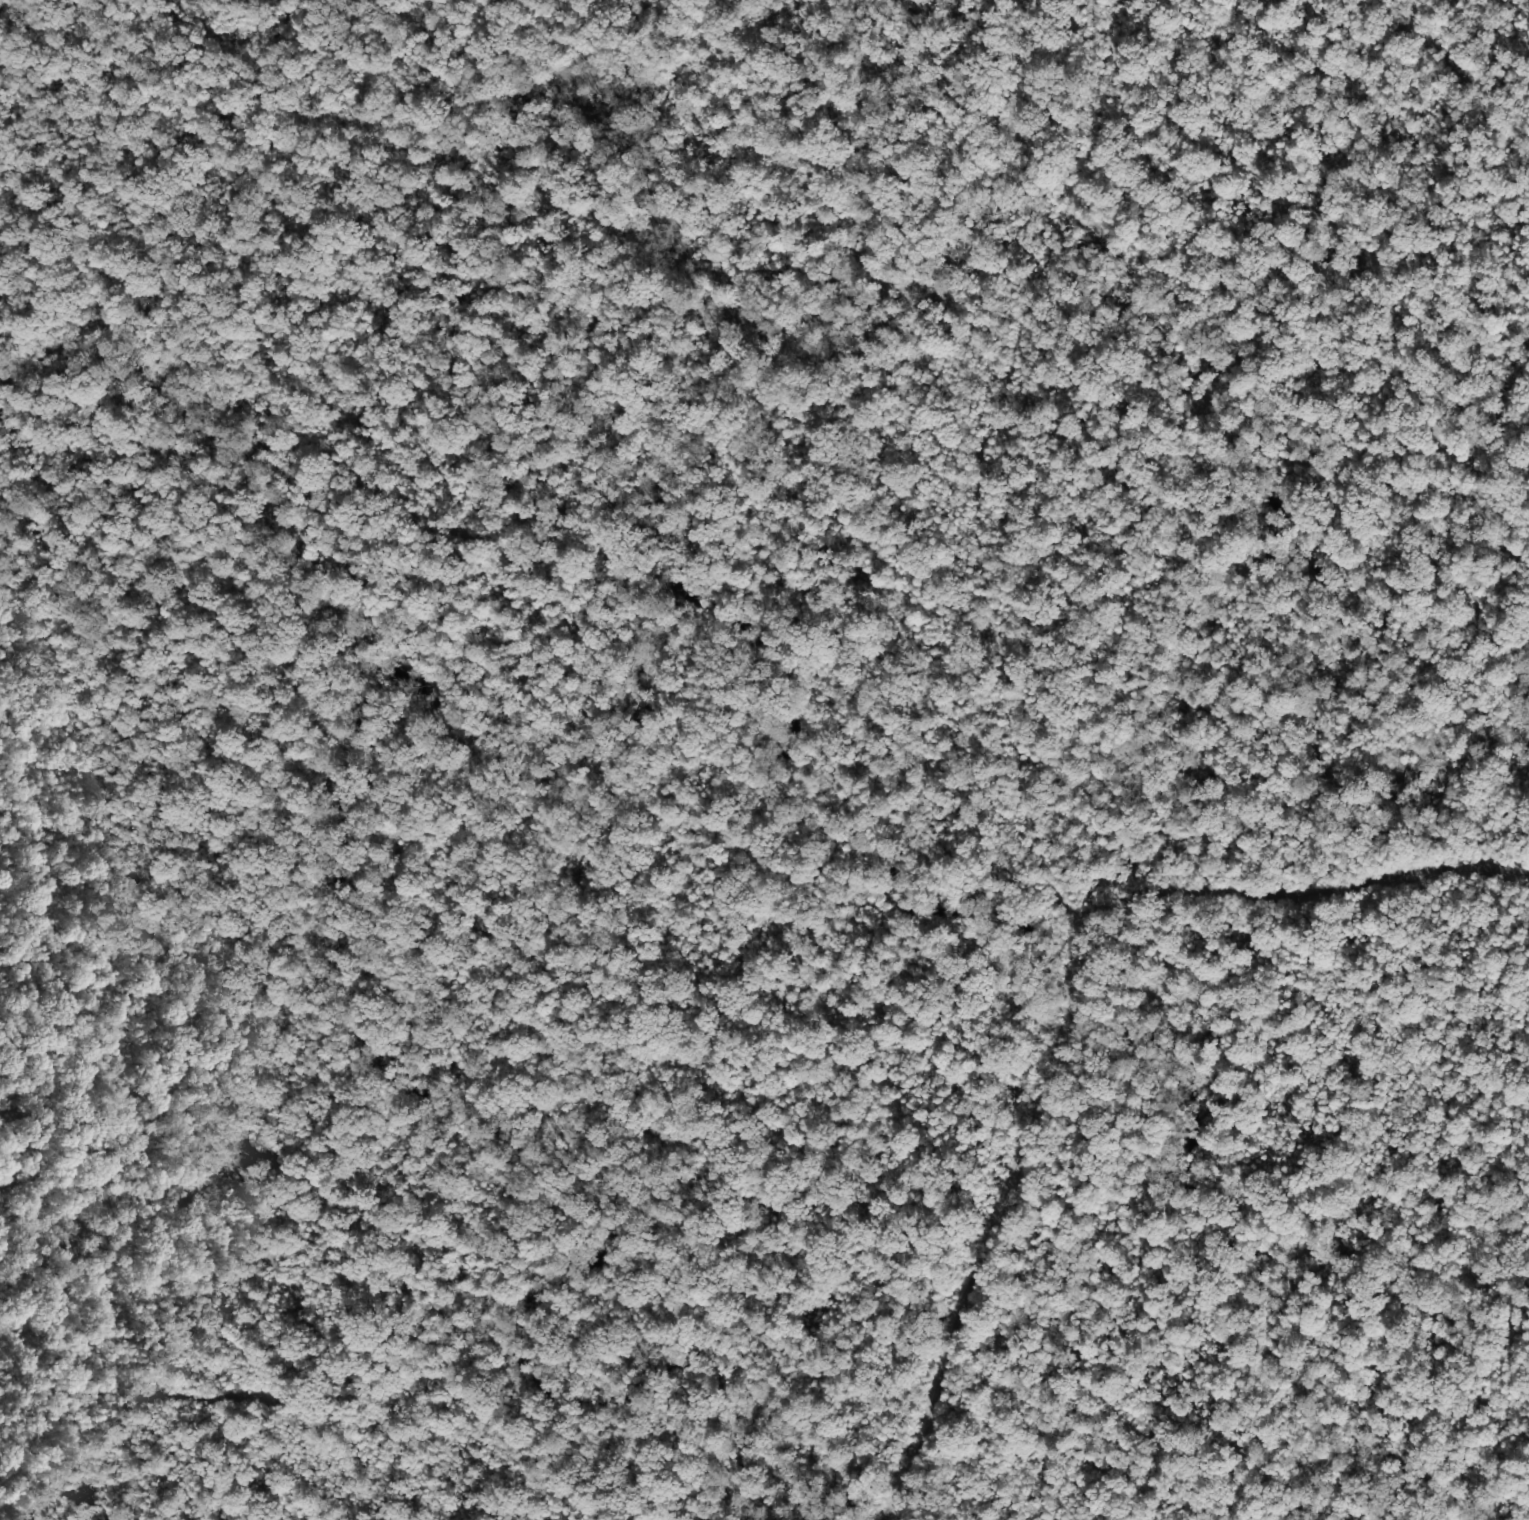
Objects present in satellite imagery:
road: (1036, 770)

